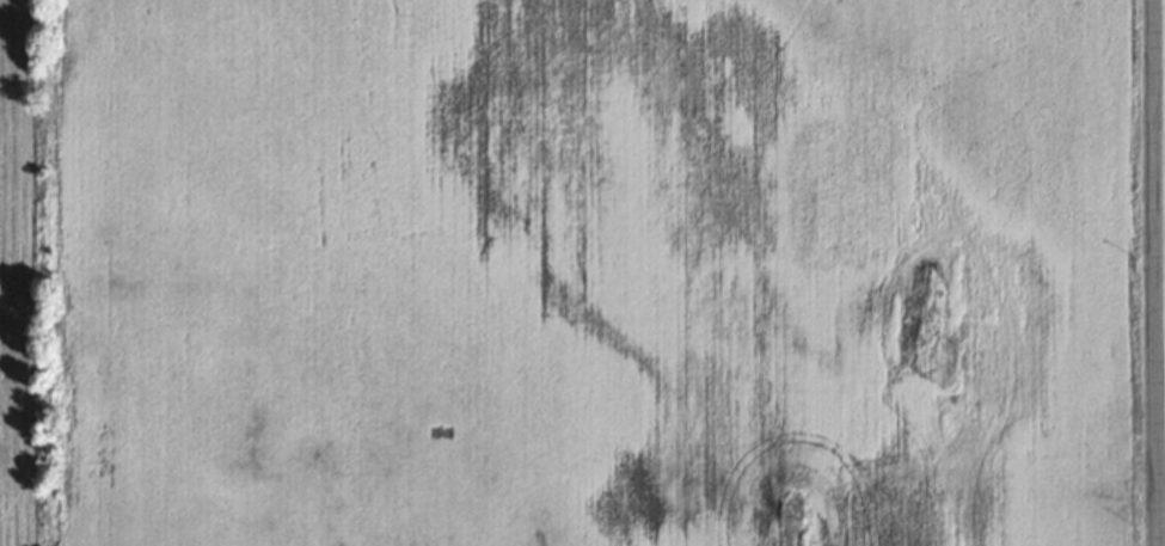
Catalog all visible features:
road: (1153, 272)

